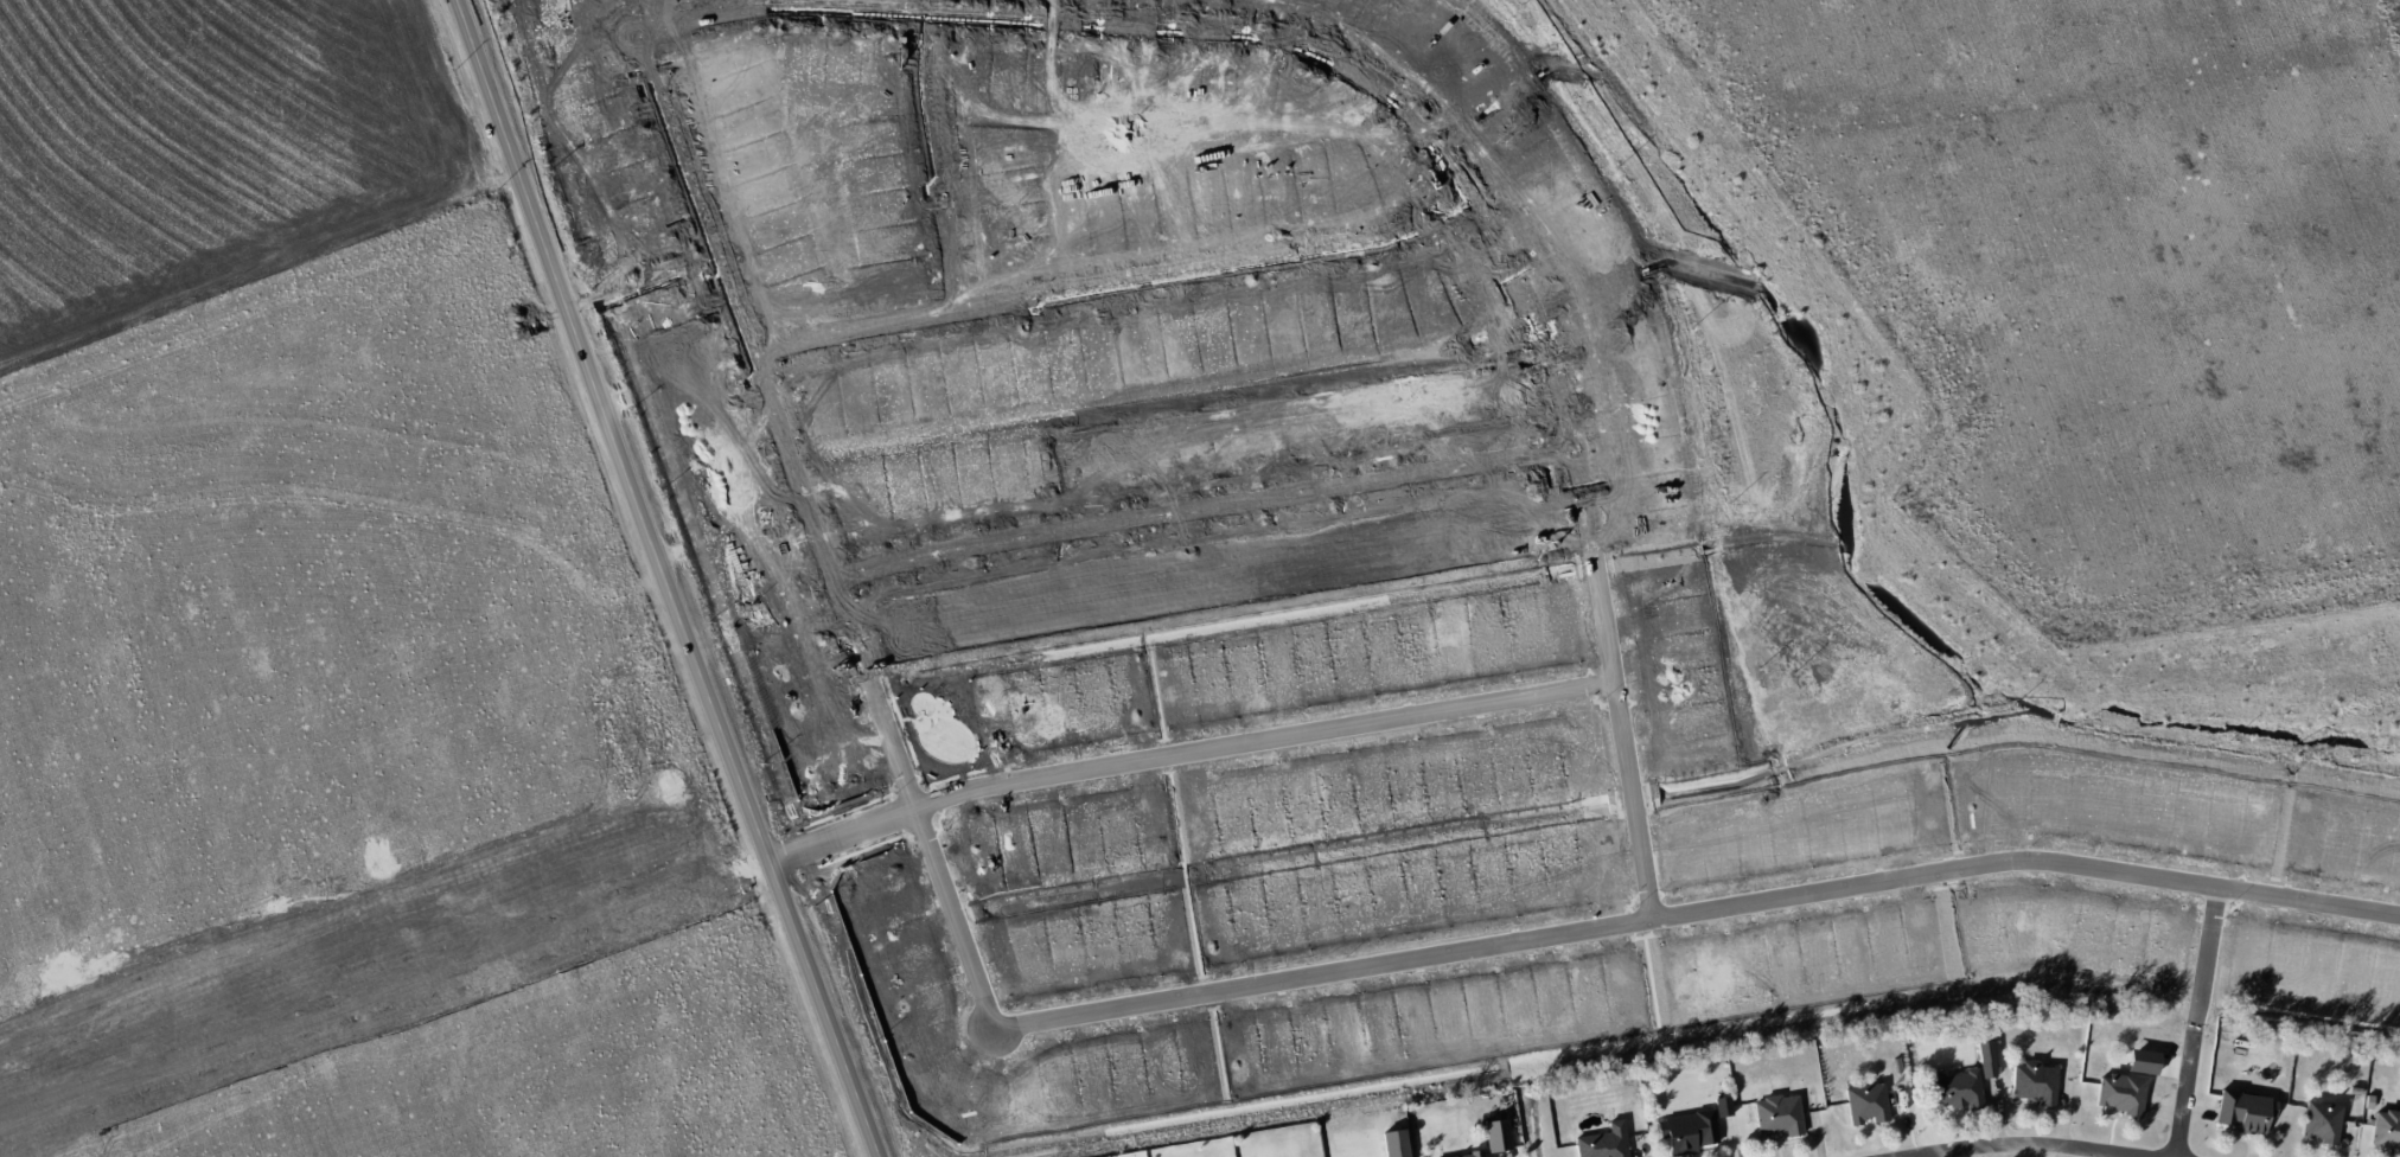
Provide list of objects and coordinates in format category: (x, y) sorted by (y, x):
road: (2354, 122)
road: (1426, 134)
road: (934, 161)
road: (2136, 226)
building: (783, 261)
road: (634, 267)
road: (1113, 285)
road: (2309, 418)
road: (1202, 510)
road: (816, 533)
road: (659, 580)
road: (1185, 752)
road: (1699, 913)
road: (2206, 955)
building: (1985, 1059)
building: (2035, 1082)
building: (1957, 1089)
road: (2184, 1091)
building: (2120, 1093)
building: (1866, 1102)
building: (1722, 1106)
building: (2245, 1111)
building: (1777, 1114)
building: (2321, 1121)
building: (2386, 1130)
building: (1687, 1131)
building: (1496, 1134)
building: (1603, 1142)
road: (2017, 1144)
building: (1469, 1155)

